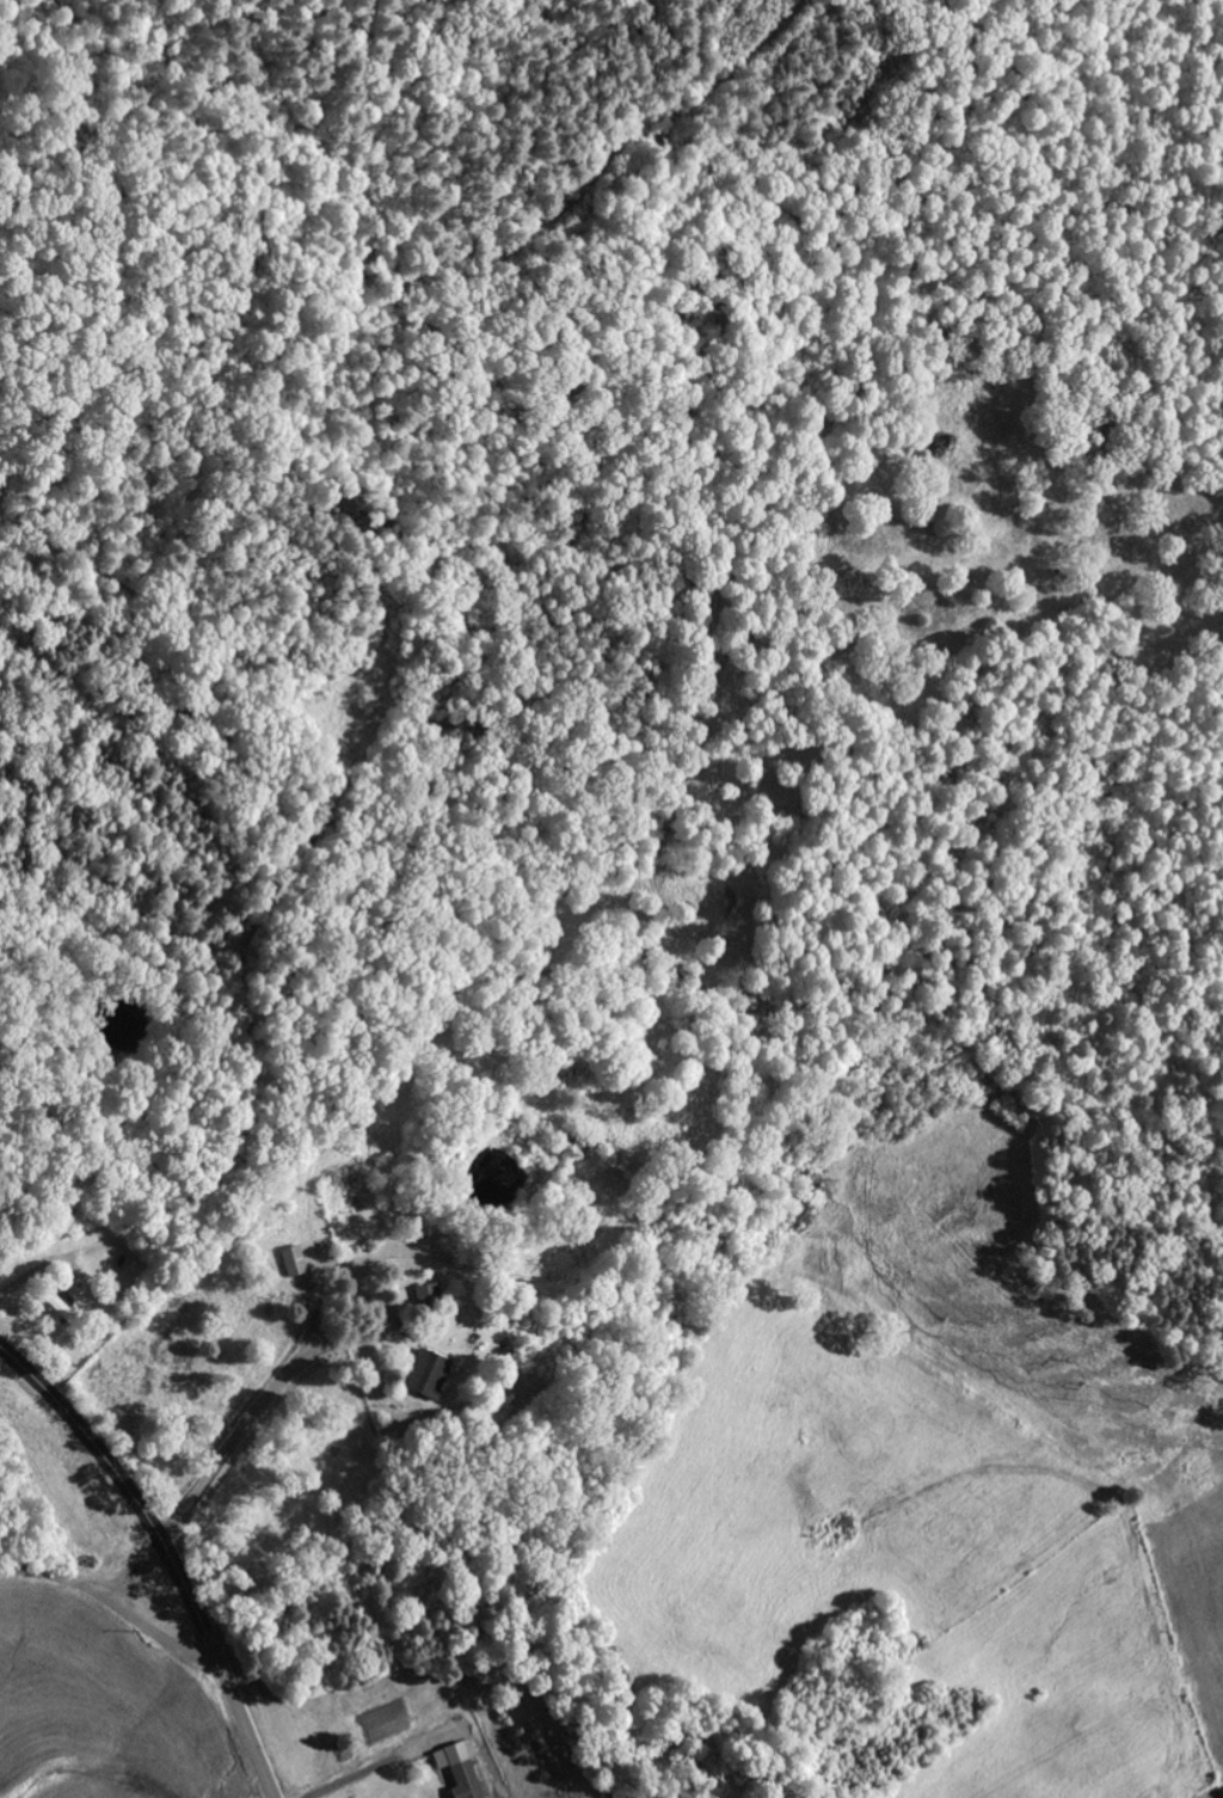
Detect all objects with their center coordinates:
road: (420, 559)
road: (130, 683)
building: (294, 1262)
building: (428, 1293)
building: (59, 1306)
building: (429, 1375)
road: (168, 1553)
road: (133, 1579)
road: (113, 1602)
building: (461, 1768)

